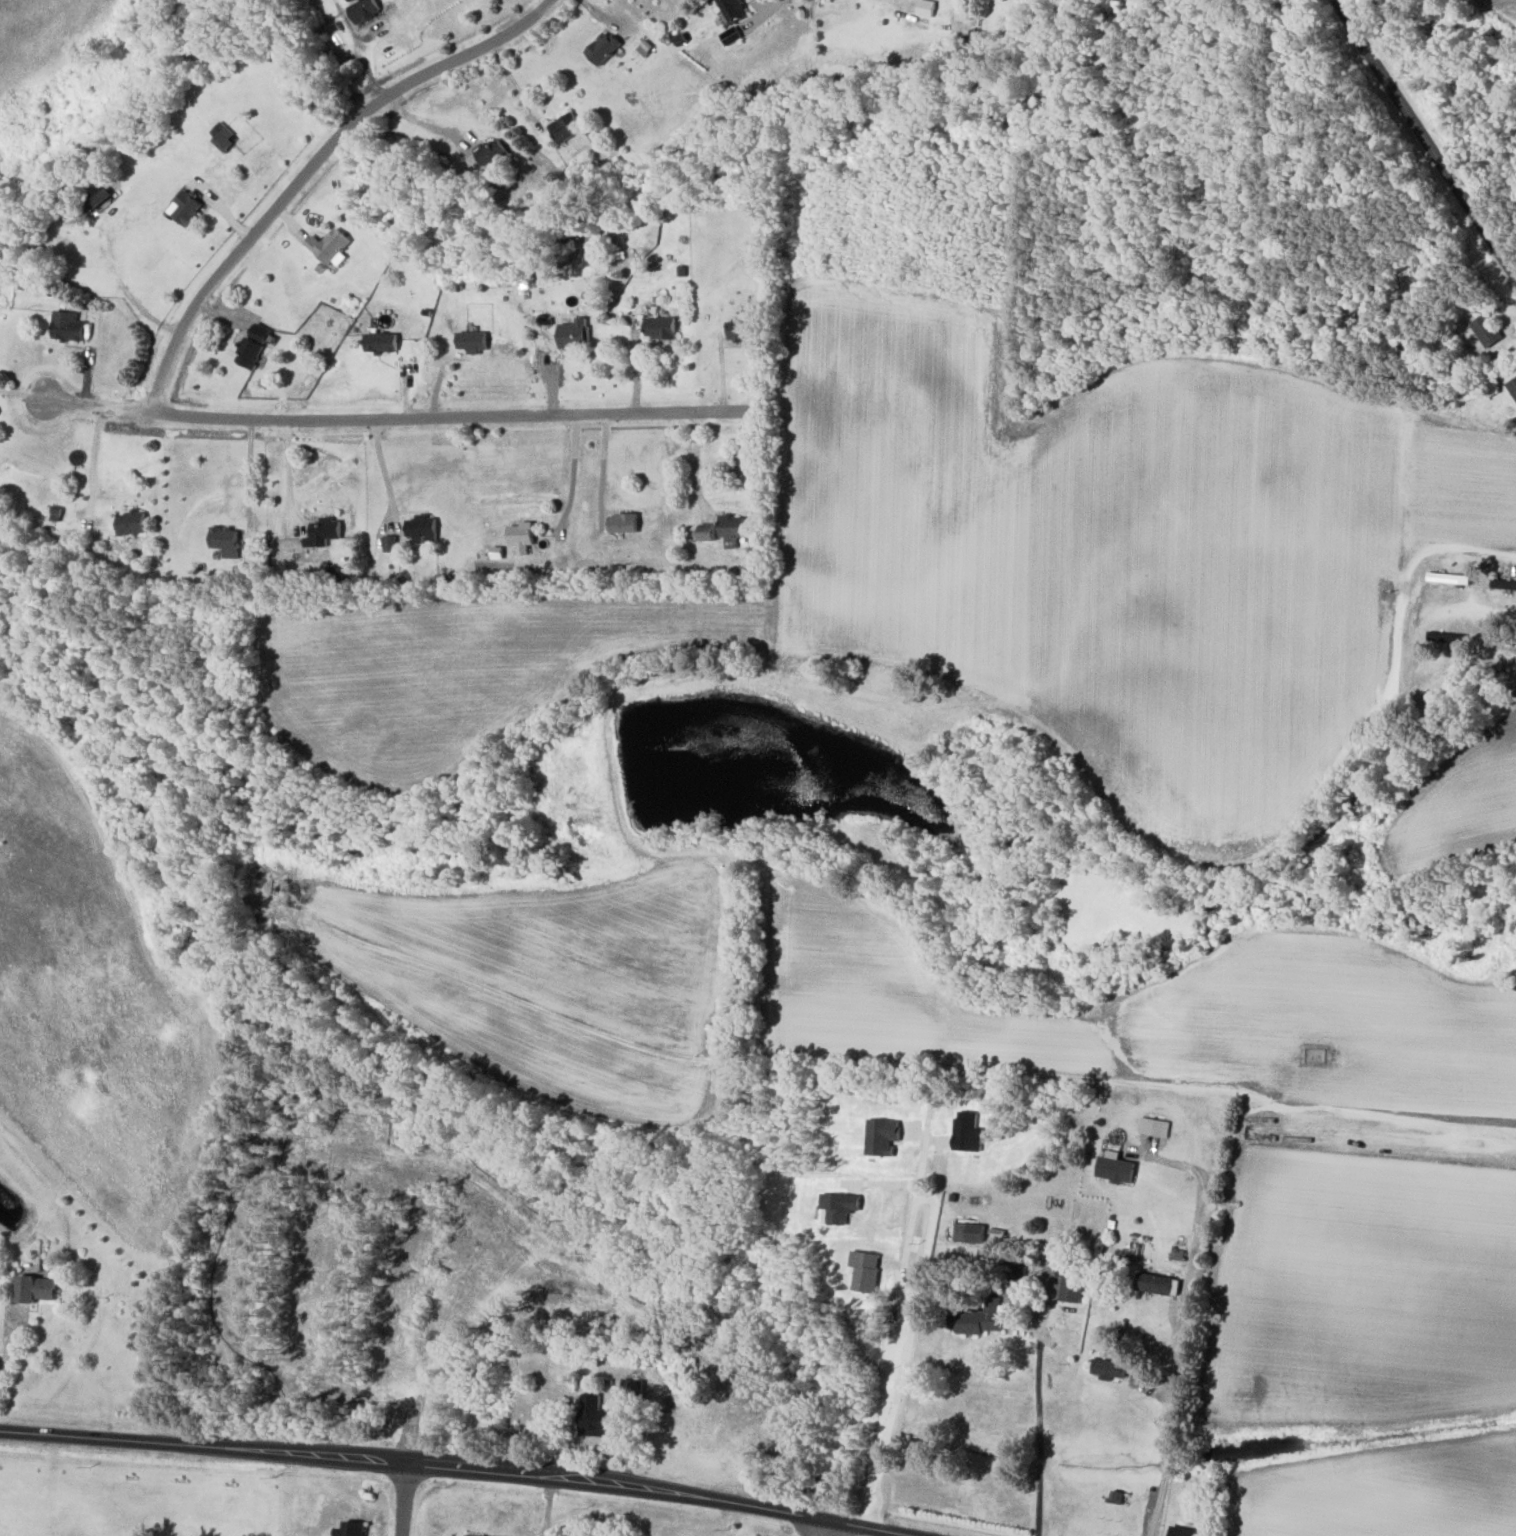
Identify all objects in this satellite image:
building: (348, 0)
building: (925, 8)
building: (363, 10)
building: (732, 10)
building: (602, 48)
road: (515, 87)
building: (565, 127)
building: (223, 138)
road: (1426, 139)
building: (490, 153)
road: (311, 167)
building: (97, 199)
building: (184, 208)
building: (329, 247)
building: (67, 326)
building: (660, 328)
building: (1486, 330)
building: (740, 331)
building: (259, 333)
building: (573, 334)
building: (471, 341)
building: (380, 342)
building: (248, 353)
building: (1513, 387)
road: (24, 393)
road: (397, 418)
road: (93, 457)
road: (695, 463)
road: (602, 468)
road: (384, 473)
road: (572, 473)
road: (288, 474)
road: (248, 475)
building: (130, 523)
building: (622, 523)
building: (732, 529)
building: (421, 530)
building: (322, 532)
building: (521, 536)
building: (225, 541)
road: (1473, 553)
road: (1474, 617)
road: (1328, 1112)
building: (1154, 1126)
building: (1115, 1167)
building: (968, 1232)
building: (1016, 1274)
road: (1191, 1274)
building: (1157, 1283)
building: (1072, 1284)
building: (34, 1288)
building: (977, 1317)
road: (12, 1336)
road: (906, 1343)
building: (1109, 1367)
road: (1158, 1387)
building: (593, 1417)
road: (1038, 1417)
road: (459, 1465)
road: (1164, 1472)
road: (403, 1498)
road: (821, 1527)
building: (350, 1529)
building: (1183, 1531)

